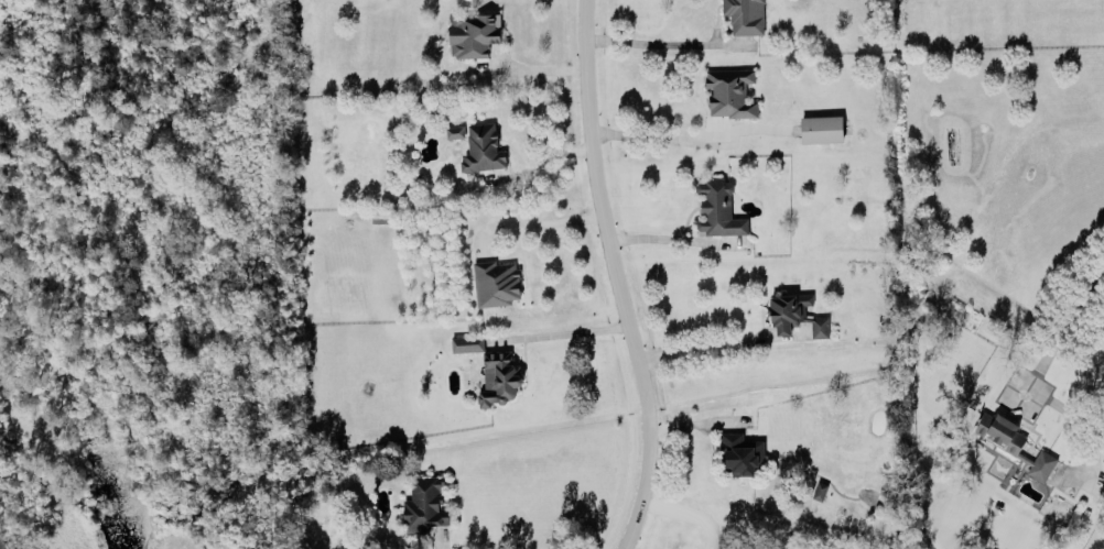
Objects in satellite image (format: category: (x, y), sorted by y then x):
building: (742, 14)
building: (472, 32)
road: (649, 39)
road: (534, 68)
building: (728, 90)
building: (820, 127)
building: (453, 130)
road: (652, 132)
building: (481, 146)
road: (544, 158)
building: (717, 207)
road: (533, 219)
road: (670, 235)
road: (616, 276)
building: (495, 281)
building: (795, 312)
road: (1067, 317)
road: (559, 329)
building: (466, 341)
road: (715, 343)
building: (499, 376)
building: (1011, 441)
building: (740, 451)
building: (424, 502)
road: (686, 514)
road: (627, 545)
road: (439, 546)

